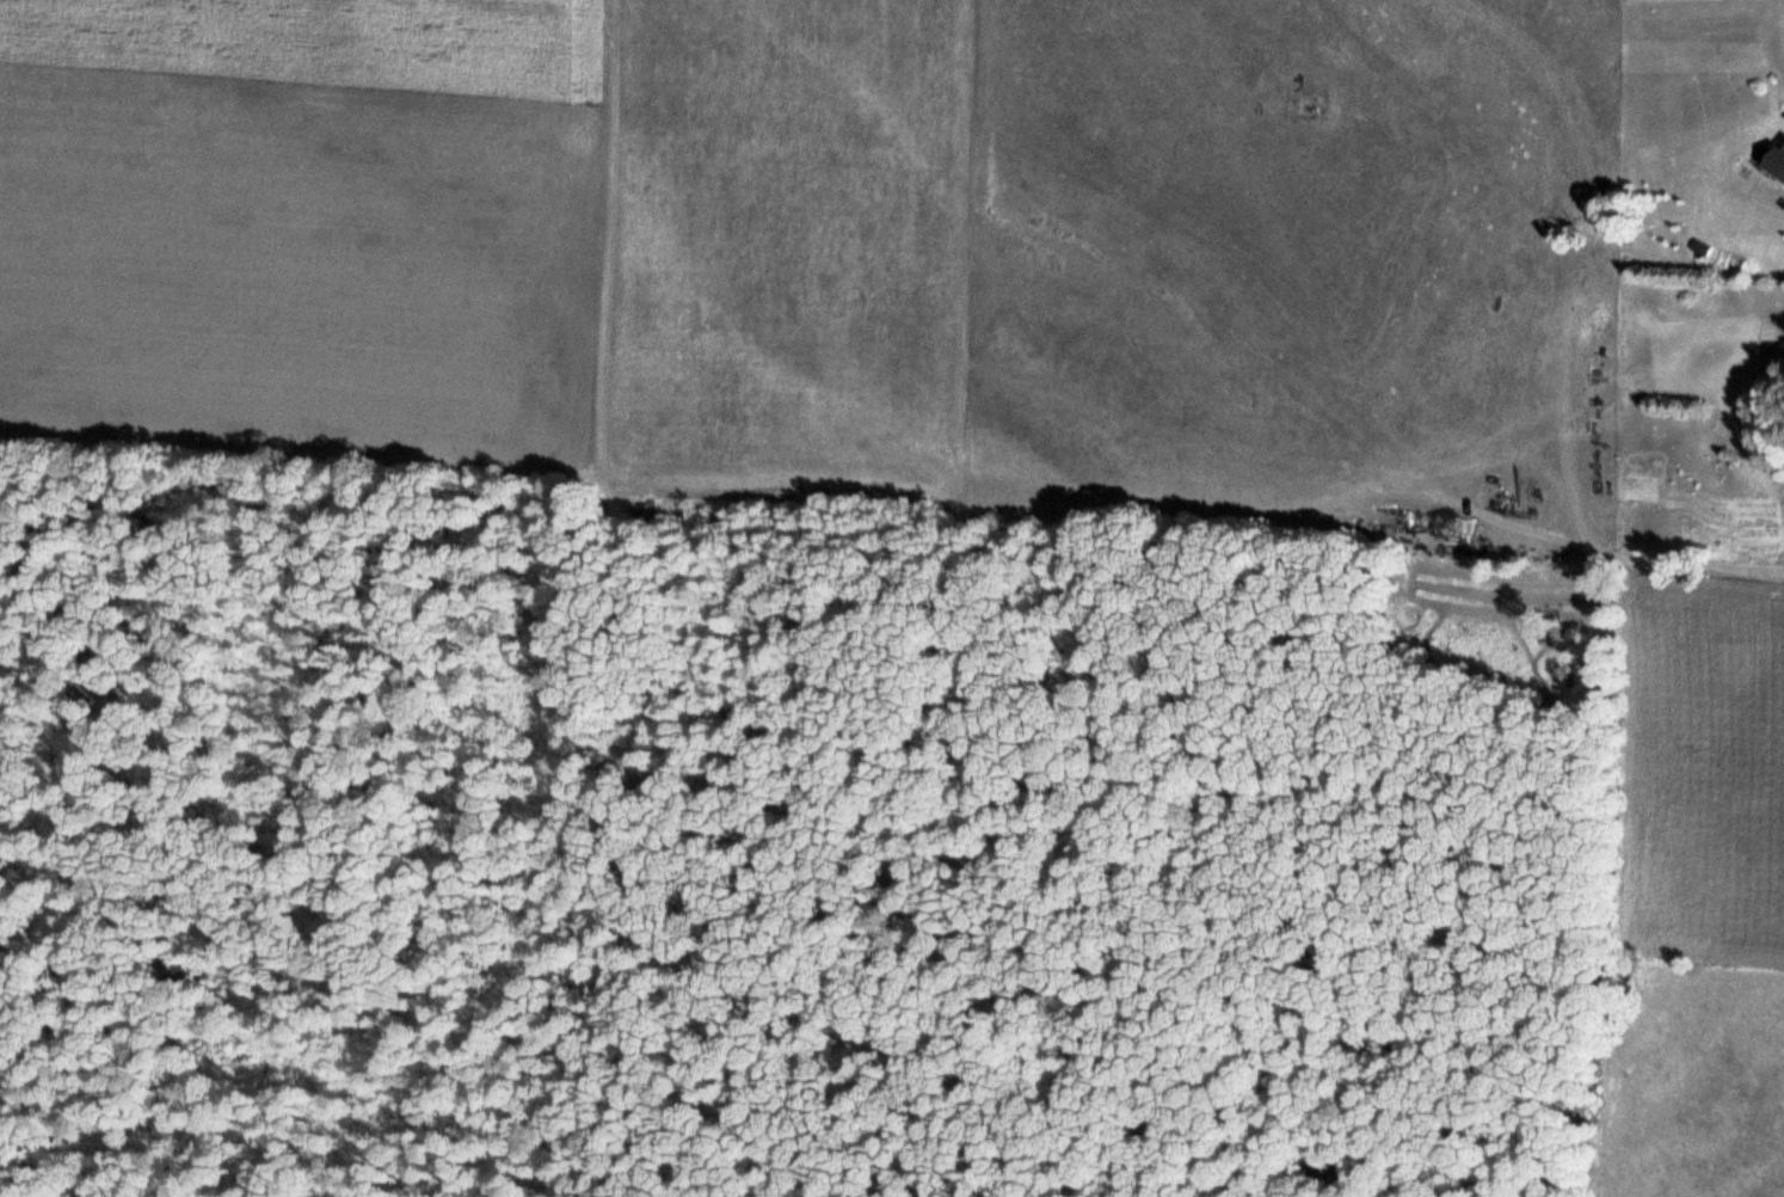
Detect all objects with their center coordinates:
building: (1779, 160)

